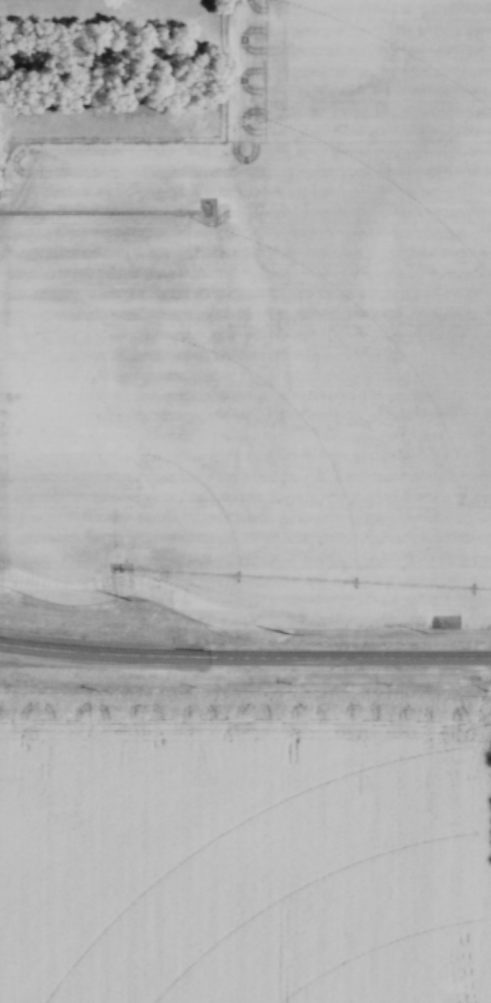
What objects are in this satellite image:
crop: (263, 335)
road: (245, 649)

